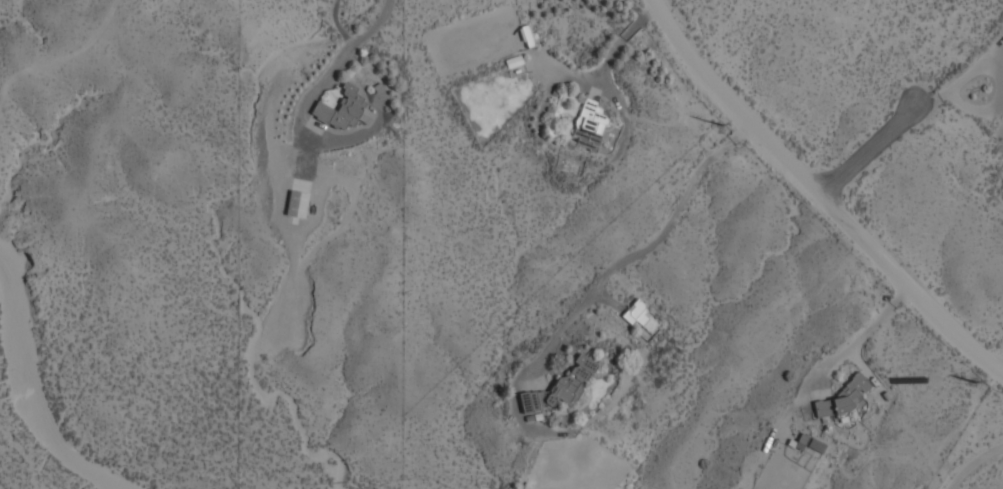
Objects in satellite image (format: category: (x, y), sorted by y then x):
road: (337, 24)
building: (528, 38)
road: (342, 55)
building: (341, 111)
power tower: (718, 126)
building: (590, 127)
road: (875, 151)
building: (568, 165)
road: (823, 191)
building: (297, 206)
building: (637, 317)
building: (572, 380)
power tower: (973, 382)
building: (842, 400)
building: (529, 403)
road: (973, 462)

